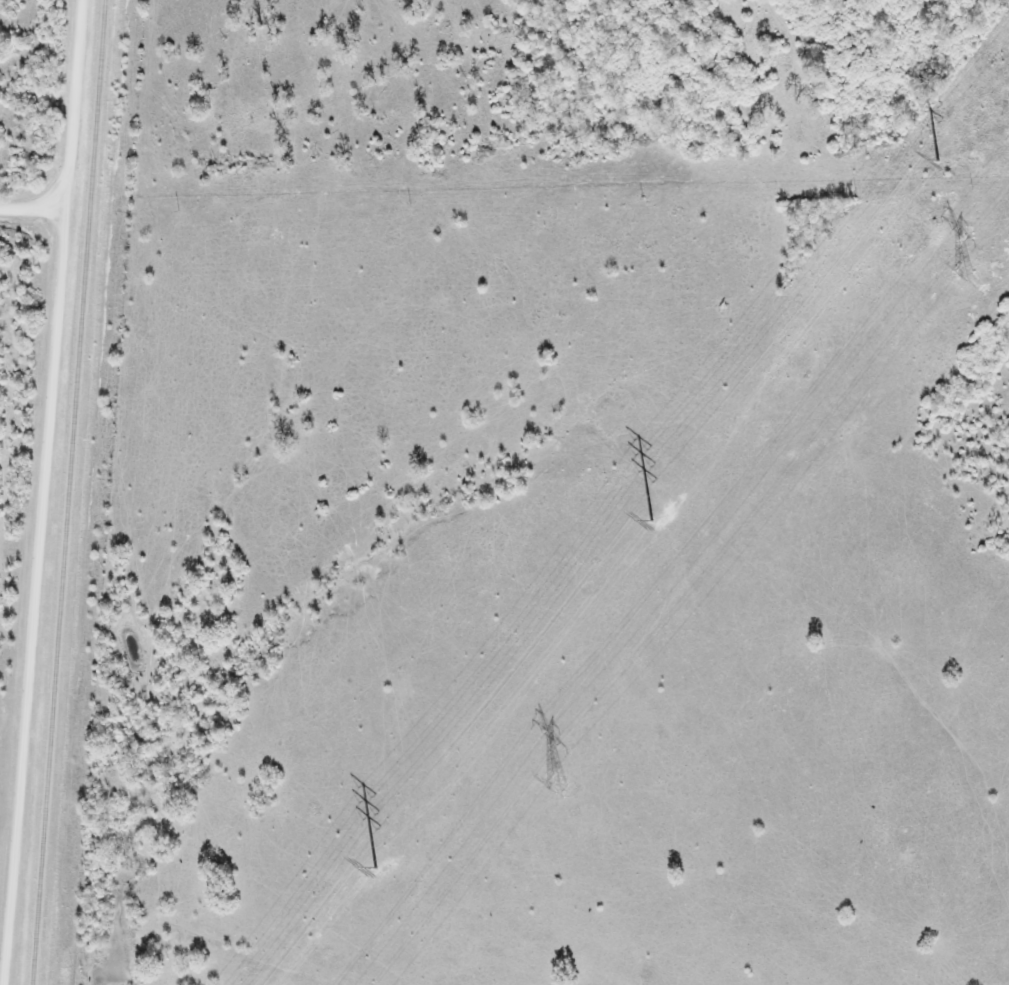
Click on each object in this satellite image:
road: (31, 208)
power tower: (966, 275)
road: (43, 492)
railway: (69, 492)
power tower: (555, 781)

